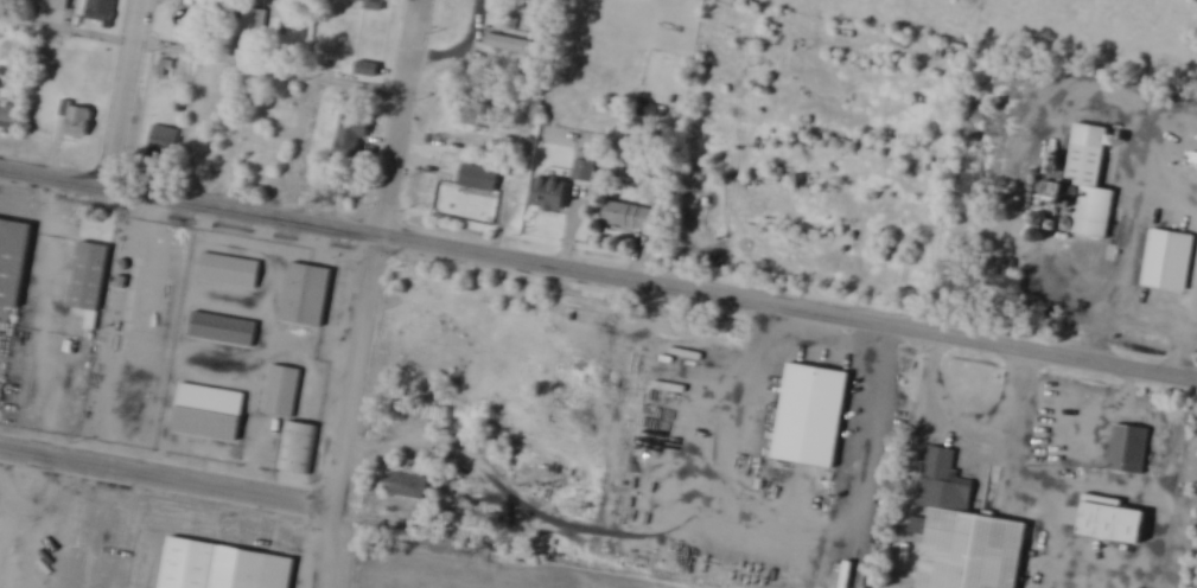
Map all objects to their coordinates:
building: (369, 5)
building: (287, 9)
building: (53, 11)
building: (100, 12)
building: (254, 24)
building: (515, 46)
road: (202, 57)
building: (275, 89)
road: (121, 92)
building: (199, 95)
building: (230, 103)
building: (272, 117)
building: (11, 120)
building: (79, 122)
building: (163, 143)
building: (266, 147)
building: (349, 149)
building: (203, 151)
building: (1089, 153)
building: (225, 155)
building: (317, 170)
building: (259, 171)
building: (584, 171)
building: (480, 180)
building: (552, 196)
building: (631, 218)
road: (1122, 247)
building: (13, 260)
building: (1170, 262)
building: (1001, 270)
building: (230, 271)
road: (598, 271)
building: (90, 277)
road: (368, 293)
building: (306, 294)
road: (133, 308)
road: (40, 315)
building: (222, 330)
road: (1192, 346)
road: (259, 388)
building: (282, 391)
building: (208, 413)
building: (813, 415)
road: (963, 439)
building: (297, 447)
building: (1129, 448)
road: (168, 478)
building: (412, 487)
building: (1112, 523)
building: (974, 552)
building: (223, 568)

